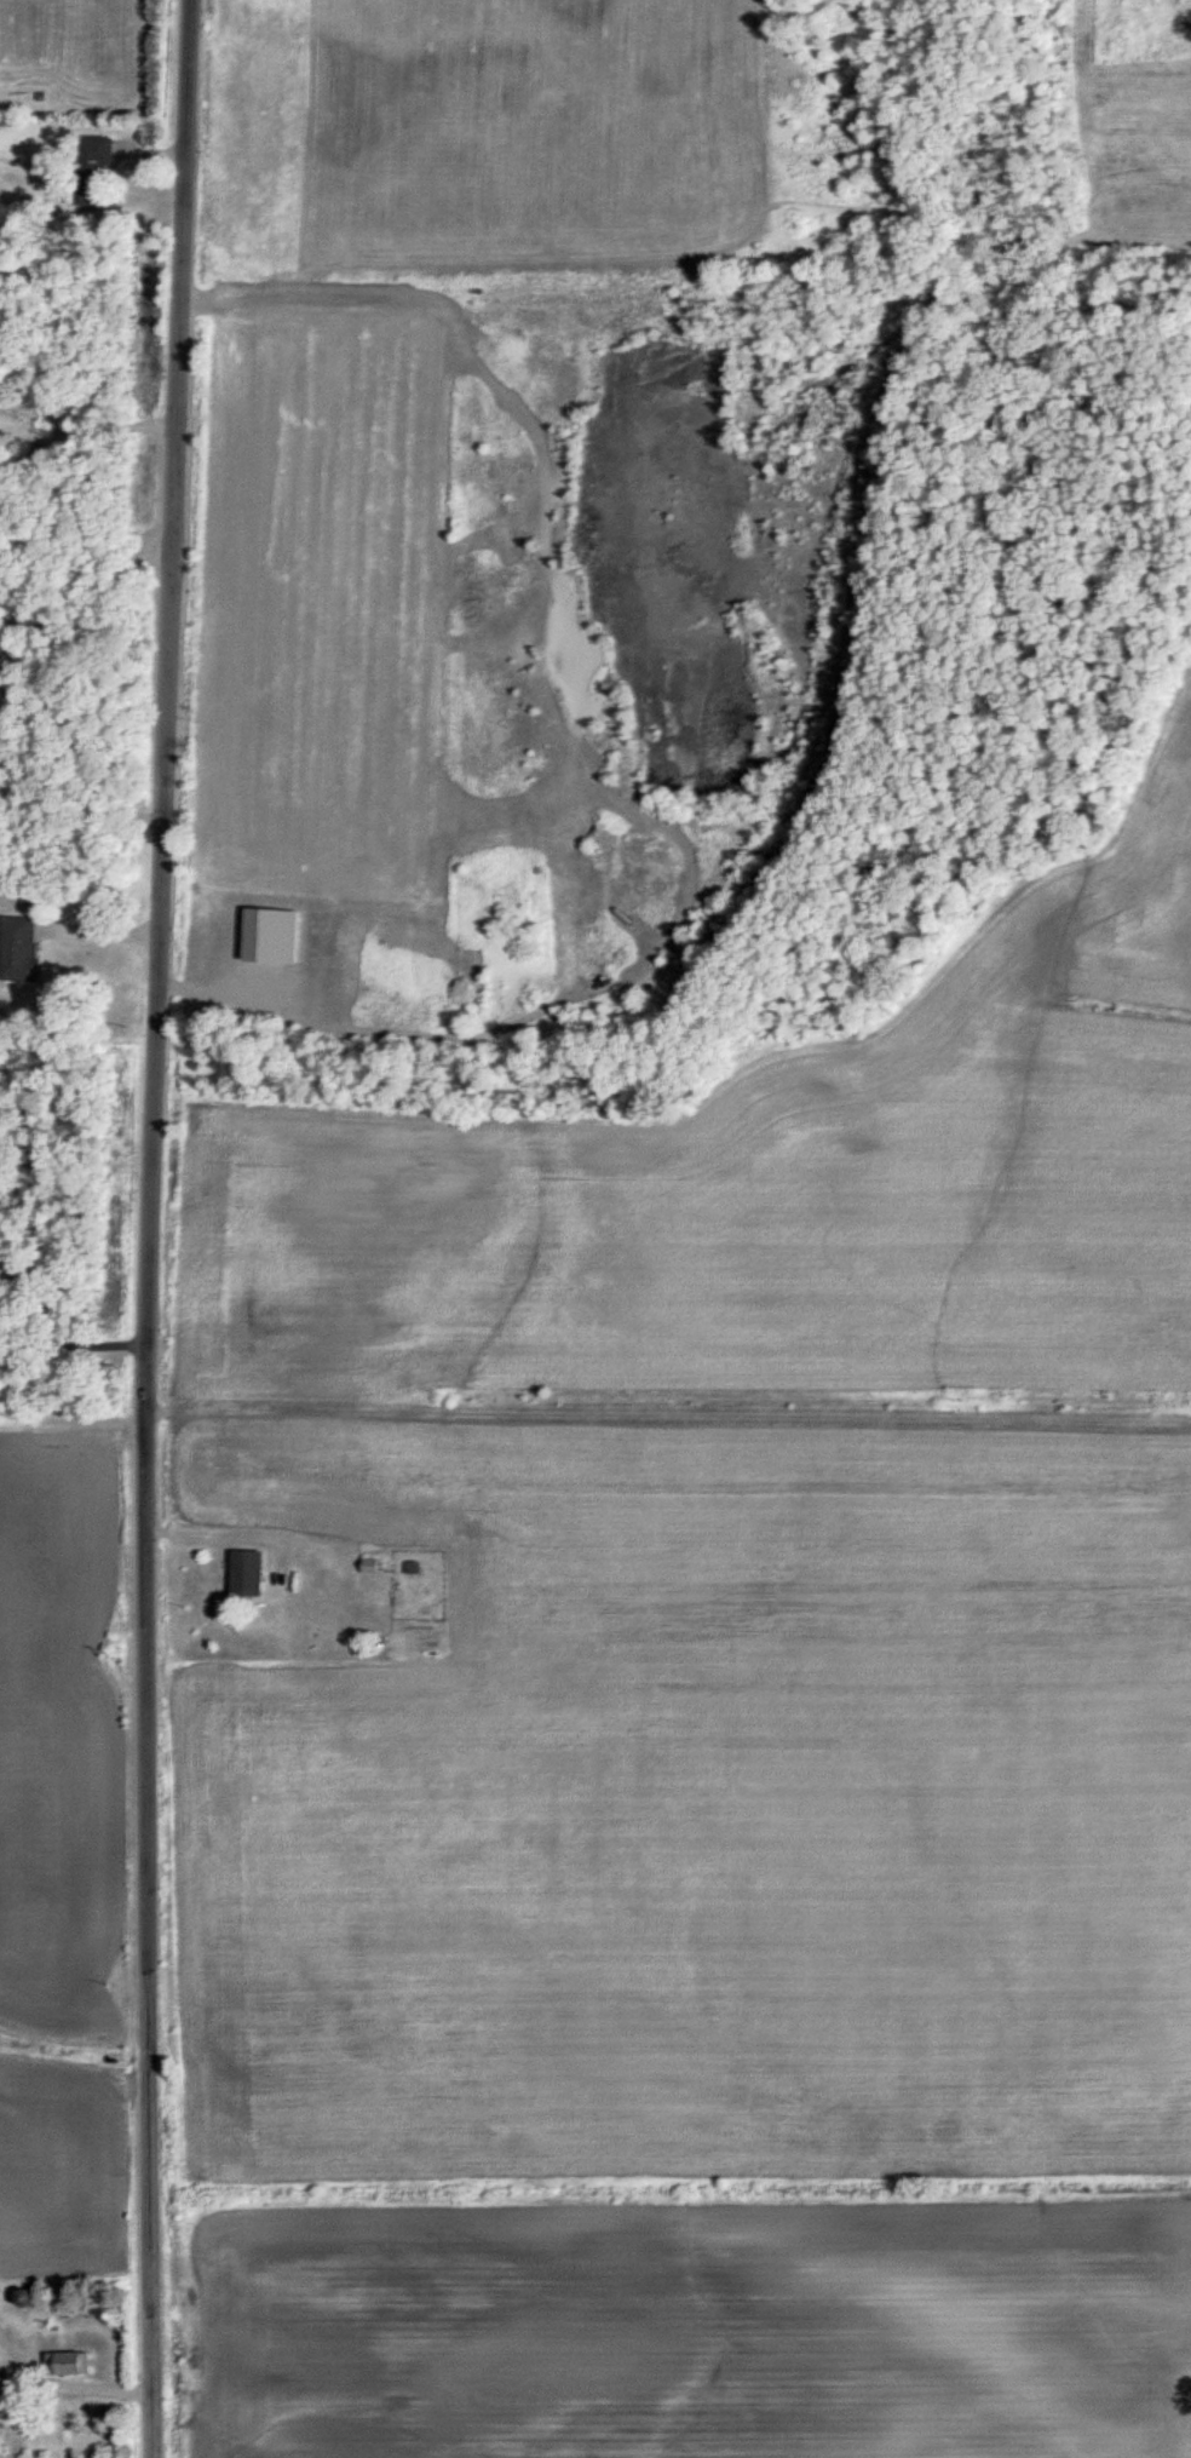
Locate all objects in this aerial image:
building: (105, 155)
road: (70, 564)
building: (28, 951)
road: (157, 1228)
road: (75, 1342)
building: (375, 1566)
building: (416, 1568)
building: (253, 1574)
building: (79, 2361)

